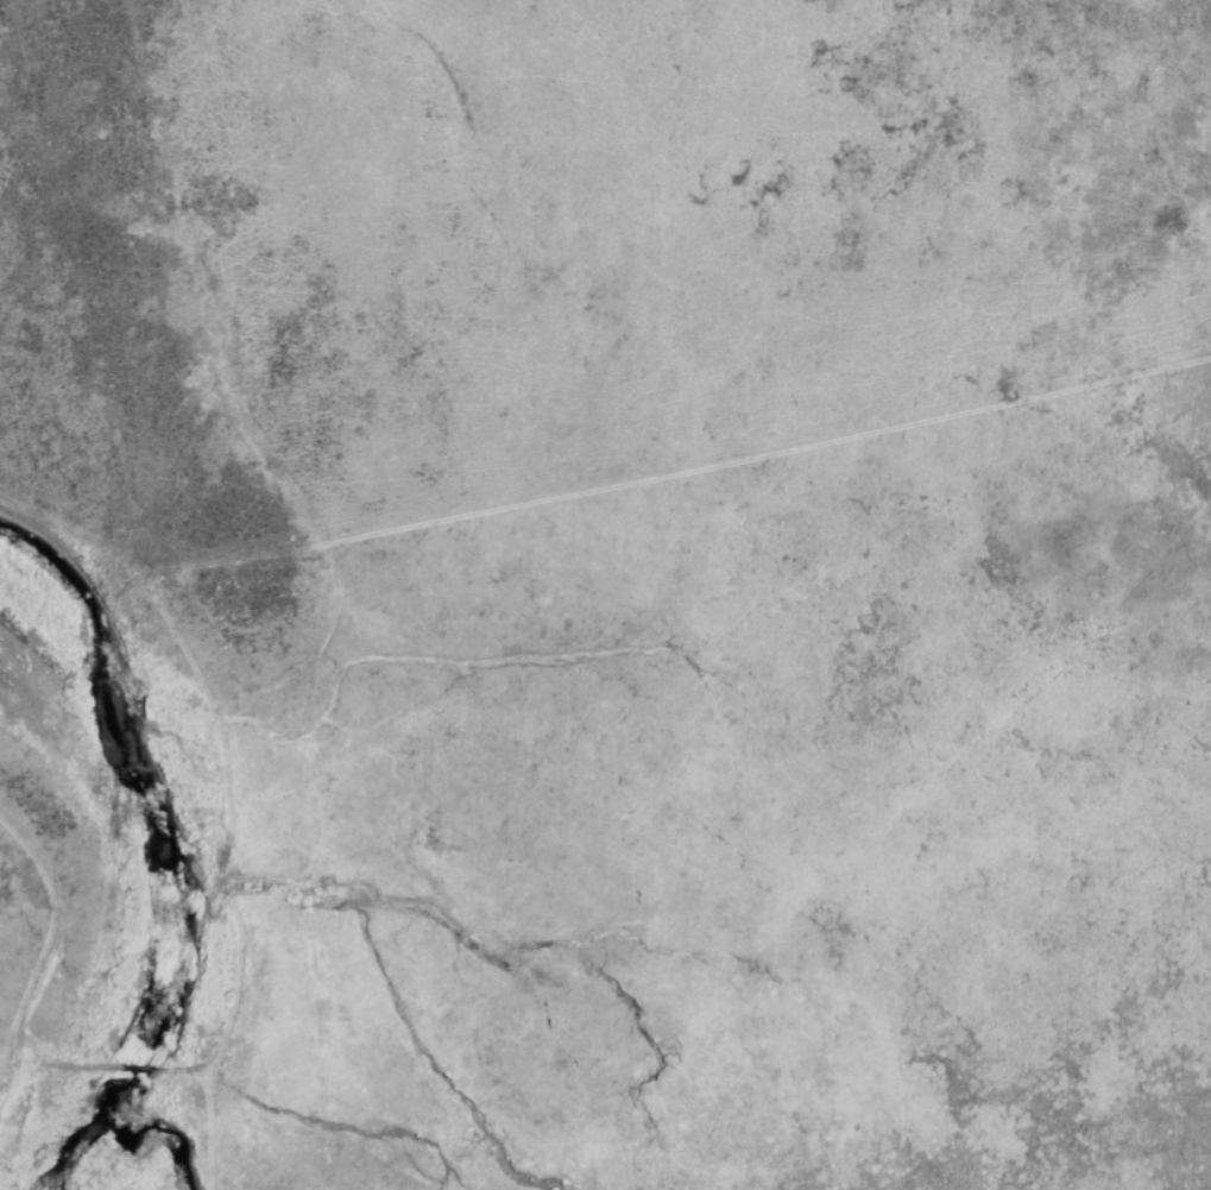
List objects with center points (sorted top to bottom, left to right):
crop: (605, 594)

